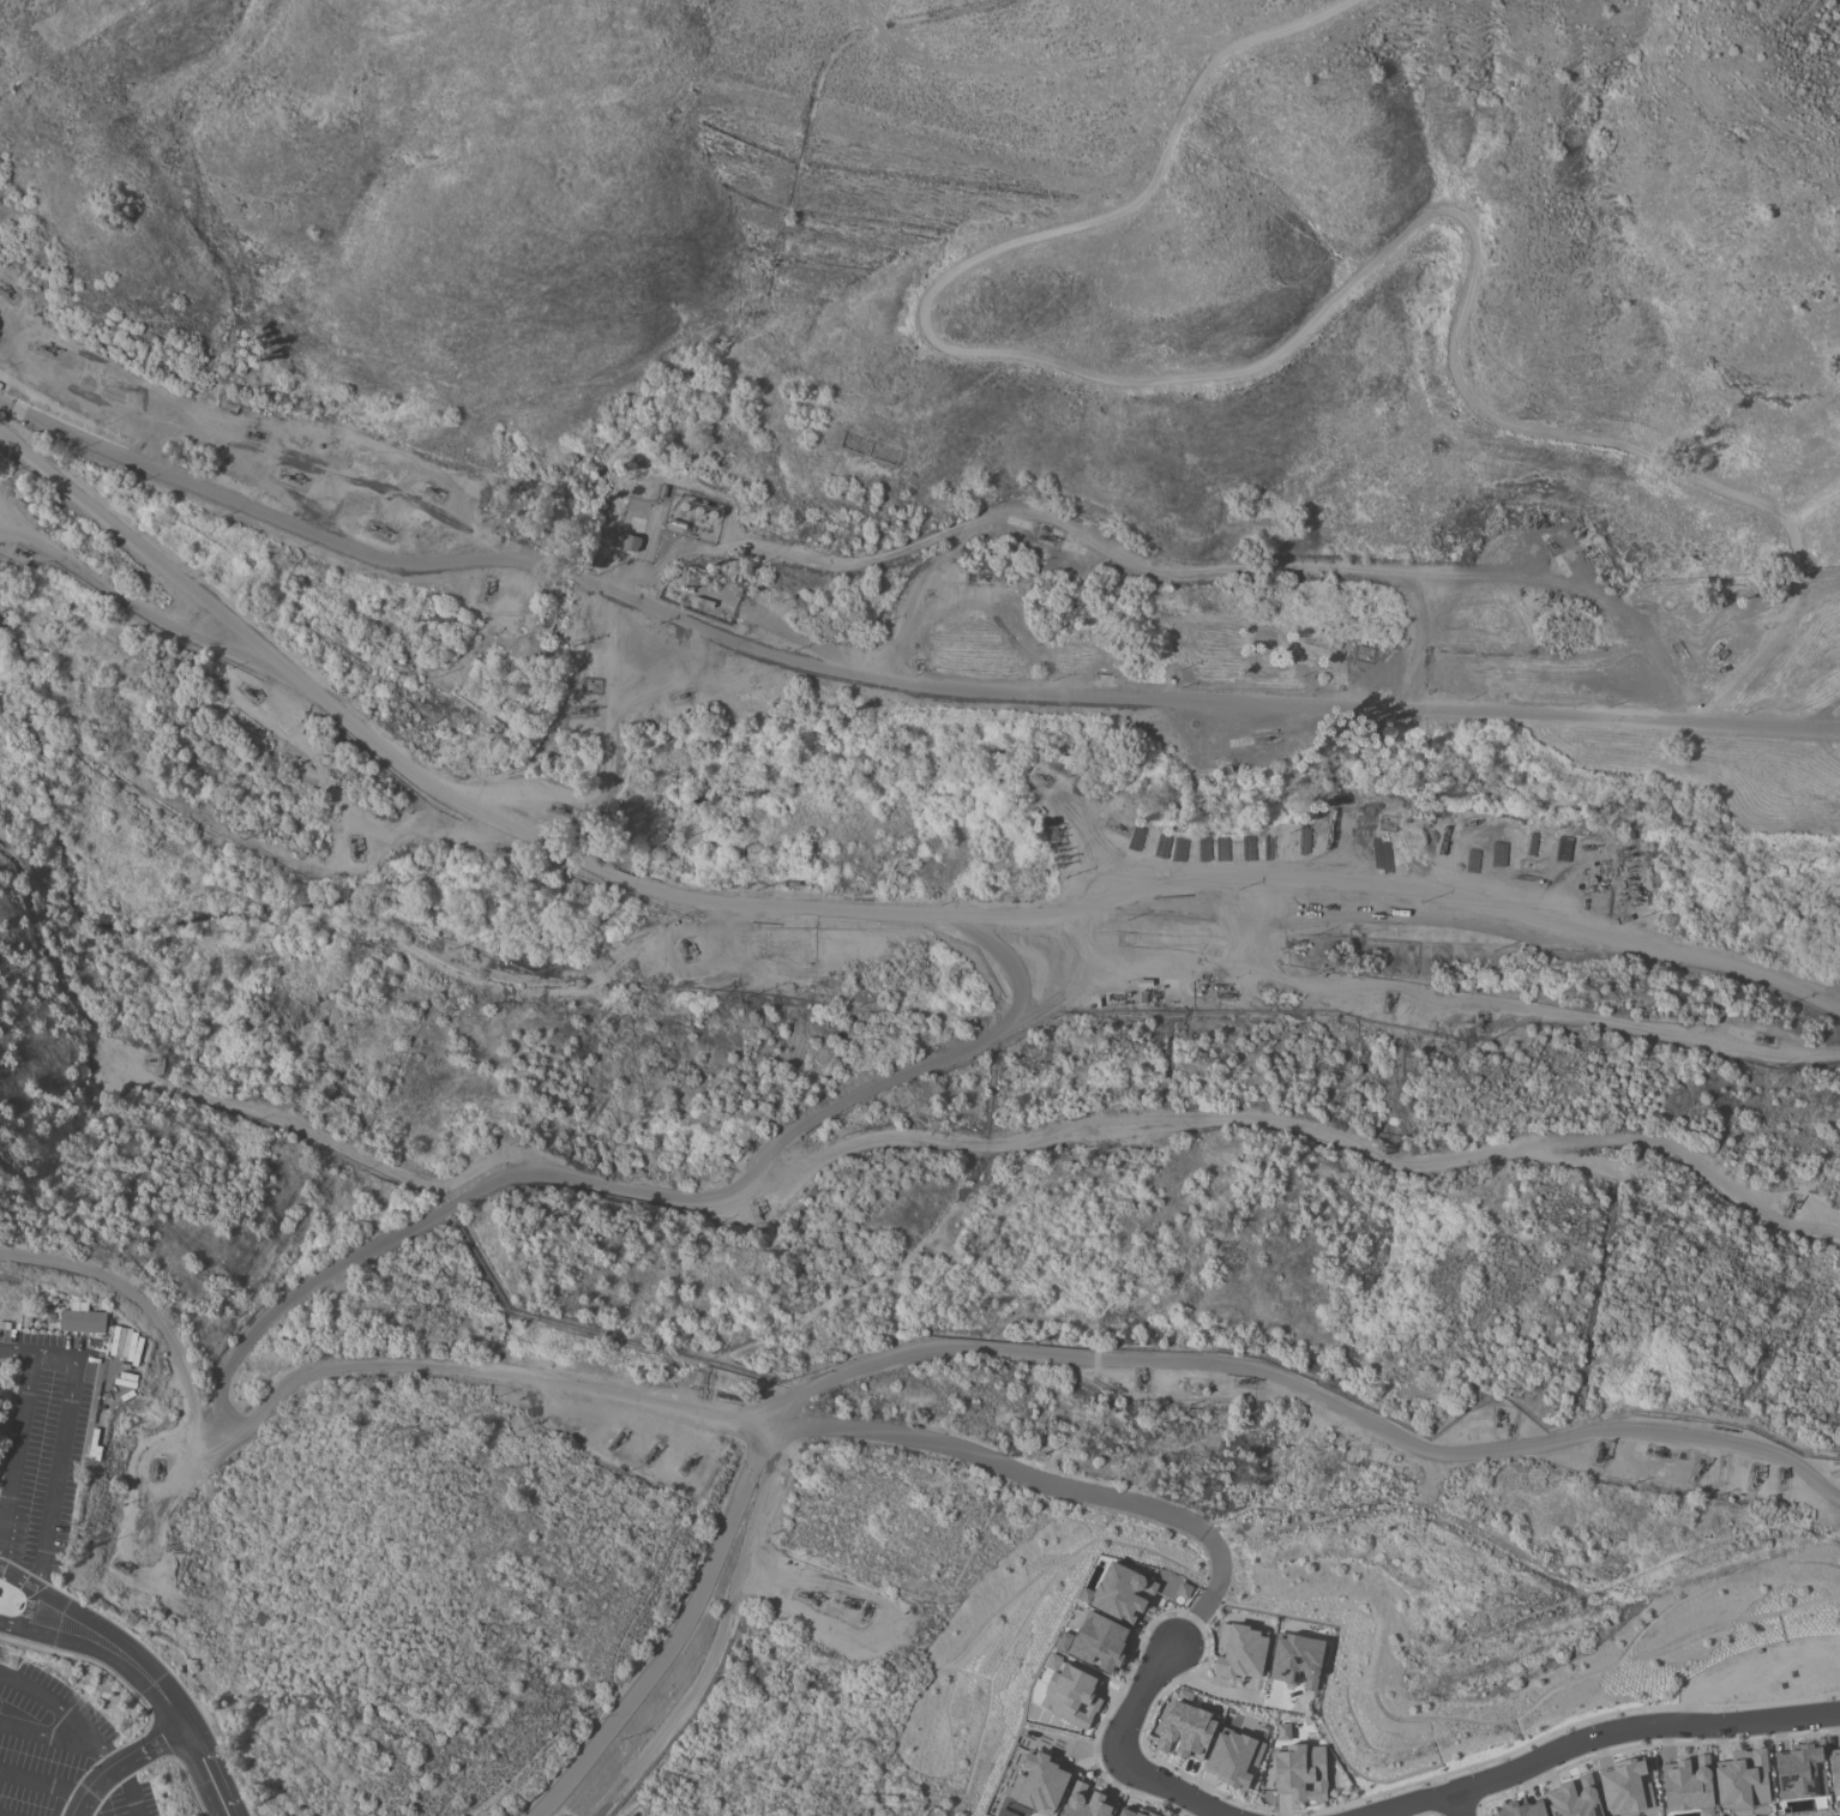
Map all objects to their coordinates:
petroleum well: (2, 288)
petroleum well: (46, 341)
road: (1293, 349)
petroleum well: (255, 432)
petroleum well: (290, 474)
petroleum well: (429, 488)
petroleum well: (379, 529)
petroleum well: (1045, 537)
petroleum well: (1551, 542)
building: (631, 543)
road: (1105, 546)
road: (796, 555)
road: (1526, 579)
petroleum well: (483, 588)
road: (1814, 594)
road: (156, 621)
road: (291, 680)
road: (892, 682)
petroleum well: (251, 691)
petroleum well: (681, 696)
petroleum well: (585, 708)
road: (1823, 714)
petroleum well: (1265, 739)
road: (607, 772)
petroleum well: (1041, 777)
petroleum well: (1472, 820)
petroleum well: (1118, 825)
petroleum well: (1587, 844)
petroleum well: (501, 848)
petroleum well: (356, 849)
road: (1243, 879)
road: (624, 885)
petroleum well: (684, 944)
road: (1015, 964)
petroleum well: (1388, 1003)
petroleum well: (1480, 1018)
petroleum well: (1763, 1038)
road: (1309, 1132)
road: (654, 1187)
petroleum well: (1790, 1203)
road: (143, 1304)
building: (84, 1318)
road: (7, 1347)
road: (23, 1349)
road: (92, 1371)
petroleum well: (1138, 1379)
petroleum well: (1249, 1381)
road: (109, 1384)
road: (1303, 1388)
road: (71, 1389)
building: (0, 1400)
road: (632, 1405)
petroleum well: (1497, 1411)
petroleum well: (617, 1437)
parking lot: (47, 1444)
petroleum well: (1598, 1448)
petroleum well: (1656, 1451)
petroleum well: (650, 1453)
road: (16, 1456)
petroleum well: (686, 1461)
petroleum well: (1696, 1467)
petroleum well: (155, 1469)
petroleum well: (1755, 1473)
petroleum well: (1782, 1475)
road: (47, 1528)
petroleum well: (120, 1564)
road: (1535, 1571)
road: (16, 1579)
road: (1213, 1592)
building: (1119, 1593)
petroleum well: (808, 1594)
petroleum well: (840, 1602)
road: (30, 1611)
road: (20, 1628)
road: (677, 1636)
road: (103, 1638)
road: (720, 1638)
building: (1096, 1642)
road: (1453, 1649)
building: (1239, 1652)
building: (1295, 1661)
road: (1222, 1691)
building: (1070, 1692)
road: (61, 1714)
road: (184, 1724)
road: (1642, 1724)
building: (1186, 1731)
road: (46, 1732)
building: (1282, 1732)
parking lot: (60, 1754)
road: (1123, 1757)
building: (1234, 1758)
road: (121, 1762)
building: (1834, 1770)
building: (1300, 1773)
building: (1799, 1773)
building: (1743, 1780)
road: (43, 1784)
building: (1038, 1784)
building: (1688, 1785)
building: (1625, 1788)
road: (126, 1790)
building: (1574, 1798)
building: (1086, 1802)
road: (1461, 1804)
road: (1418, 1805)
building: (1521, 1809)
road: (82, 1811)
building: (1129, 1812)

